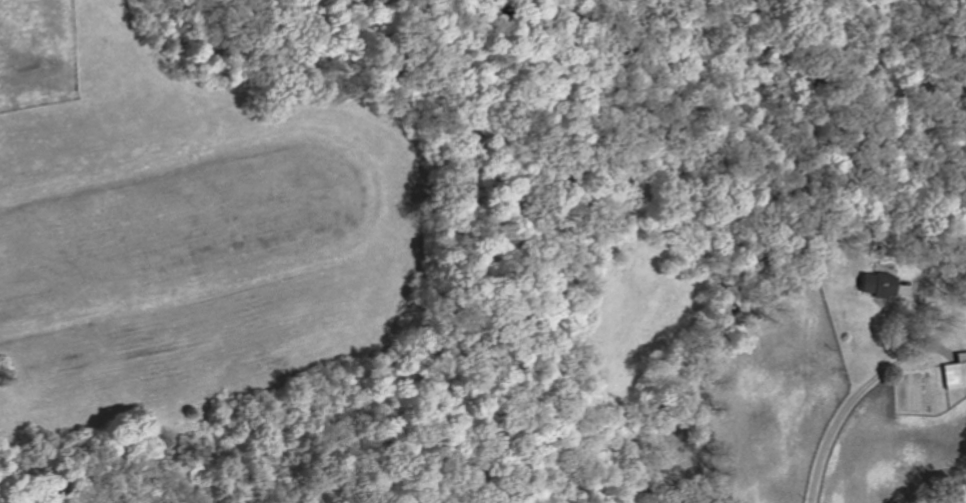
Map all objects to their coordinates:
building: (877, 285)
building: (955, 372)
road: (850, 410)

